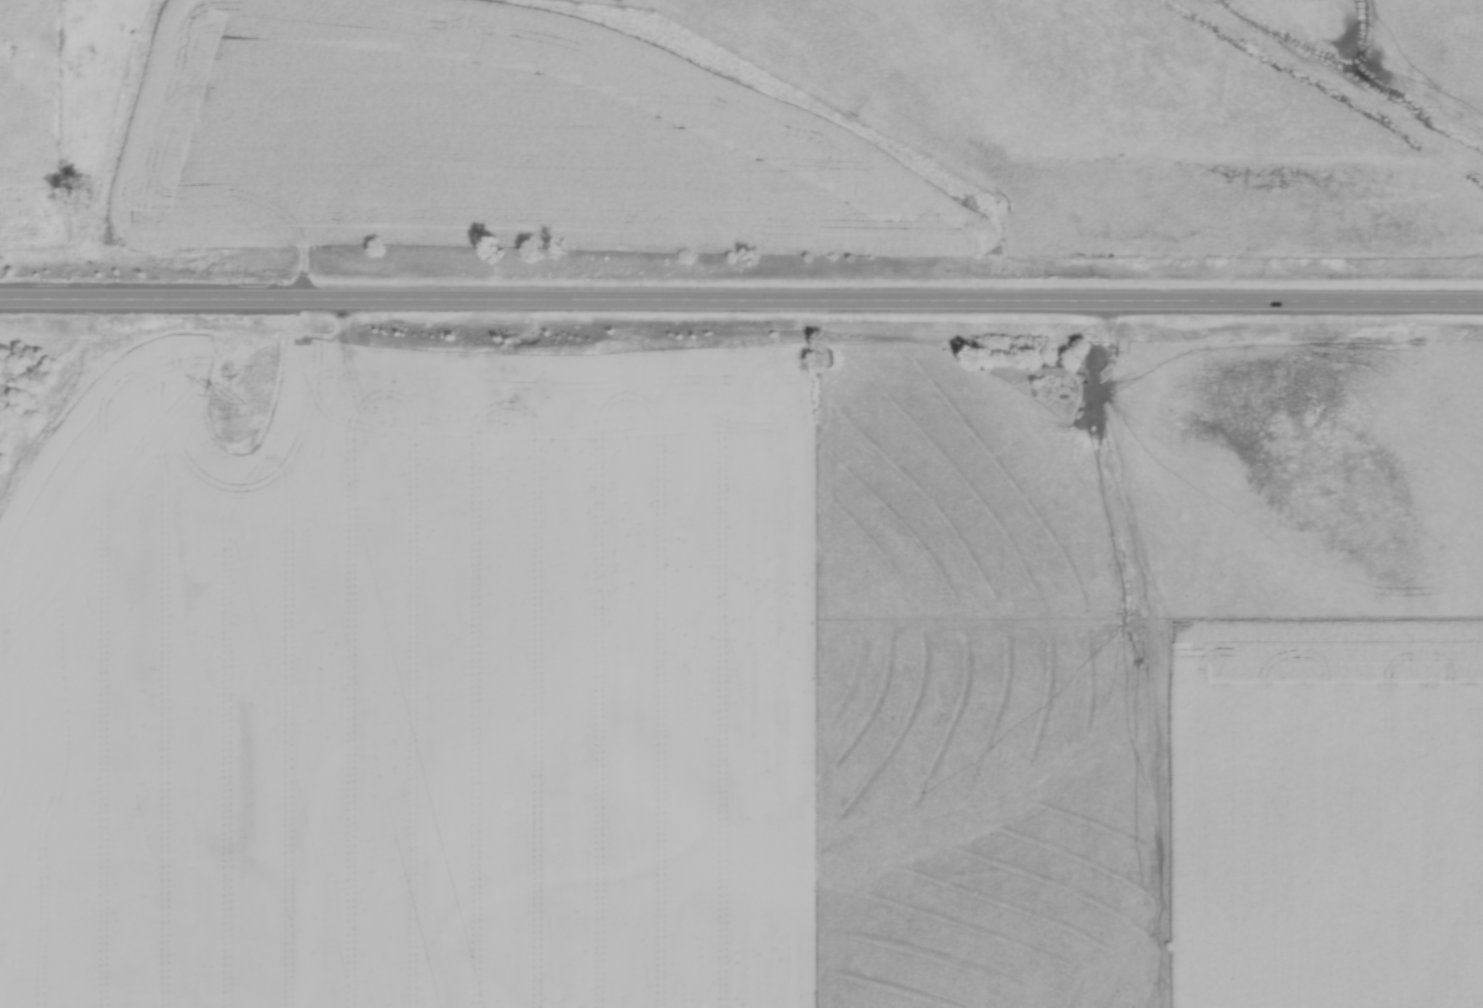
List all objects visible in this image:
road: (741, 302)
building: (1055, 362)
power tower: (227, 390)

